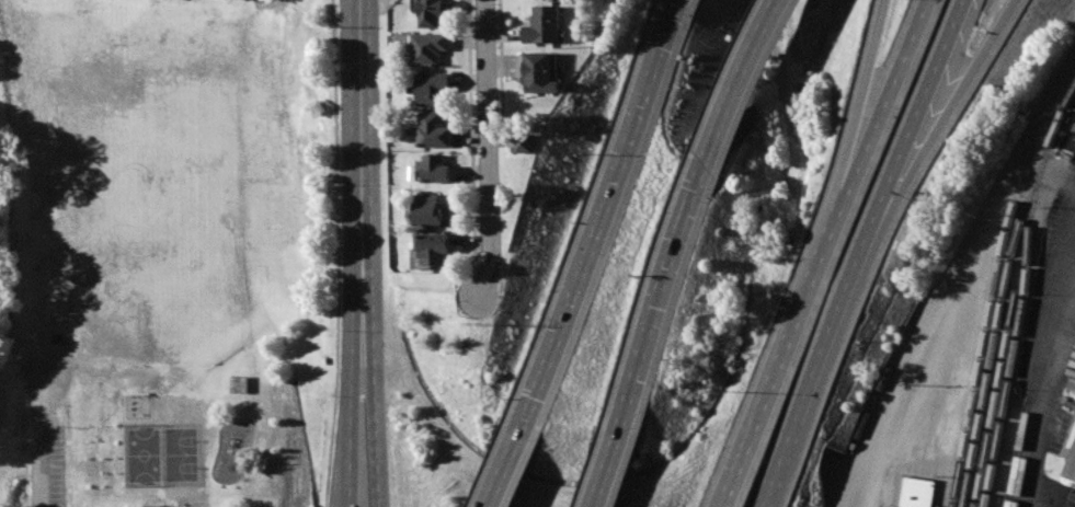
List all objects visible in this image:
road: (381, 7)
road: (387, 7)
building: (432, 12)
building: (544, 25)
building: (430, 47)
road: (502, 69)
building: (540, 73)
building: (432, 87)
road: (868, 97)
road: (890, 97)
road: (923, 111)
road: (948, 111)
building: (434, 130)
road: (472, 132)
building: (524, 138)
road: (501, 139)
road: (488, 149)
building: (436, 169)
building: (432, 210)
road: (595, 221)
road: (672, 223)
road: (980, 228)
park: (176, 243)
building: (435, 246)
road: (350, 252)
road: (338, 253)
road: (374, 253)
road: (482, 264)
railway: (1003, 291)
railway: (1008, 326)
railway: (982, 349)
road: (786, 352)
railway: (1013, 356)
road: (1047, 356)
road: (821, 364)
road: (45, 442)
park: (162, 454)
road: (865, 454)
building: (1072, 469)
road: (502, 475)
building: (1074, 481)
road: (598, 484)
building: (916, 492)
road: (347, 506)
road: (348, 506)

